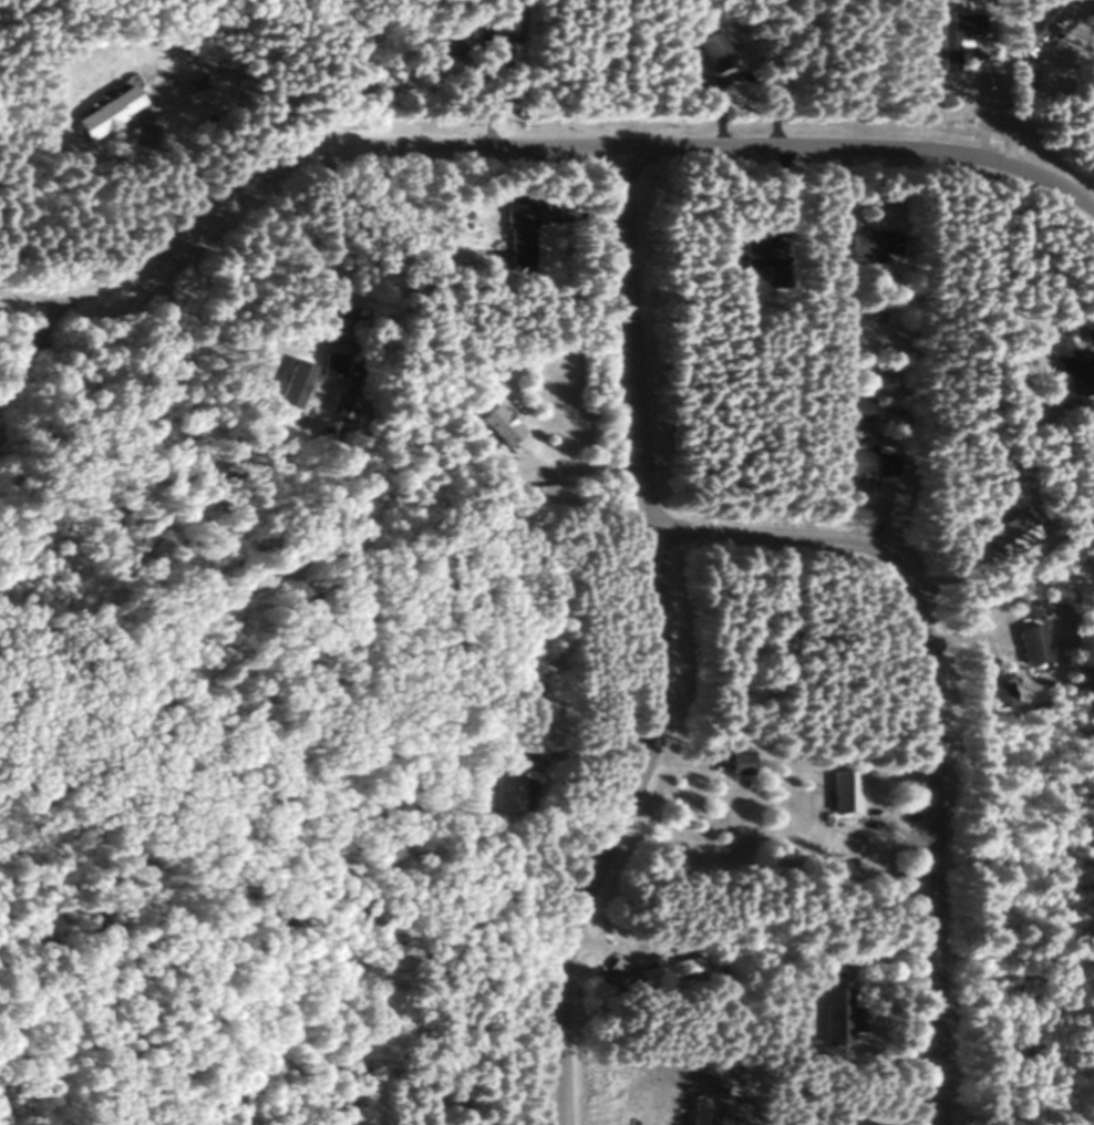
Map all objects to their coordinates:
building: (500, 20)
building: (957, 25)
building: (1038, 33)
building: (448, 40)
building: (706, 50)
building: (110, 111)
road: (534, 151)
building: (516, 237)
building: (870, 241)
building: (750, 257)
building: (776, 276)
road: (34, 341)
building: (1066, 367)
building: (292, 383)
building: (850, 406)
building: (498, 425)
building: (865, 462)
road: (574, 466)
building: (550, 495)
road: (650, 642)
building: (1029, 643)
building: (998, 694)
road: (929, 708)
building: (735, 762)
road: (533, 776)
building: (505, 788)
building: (842, 791)
building: (667, 969)
building: (837, 1012)
building: (695, 1109)

